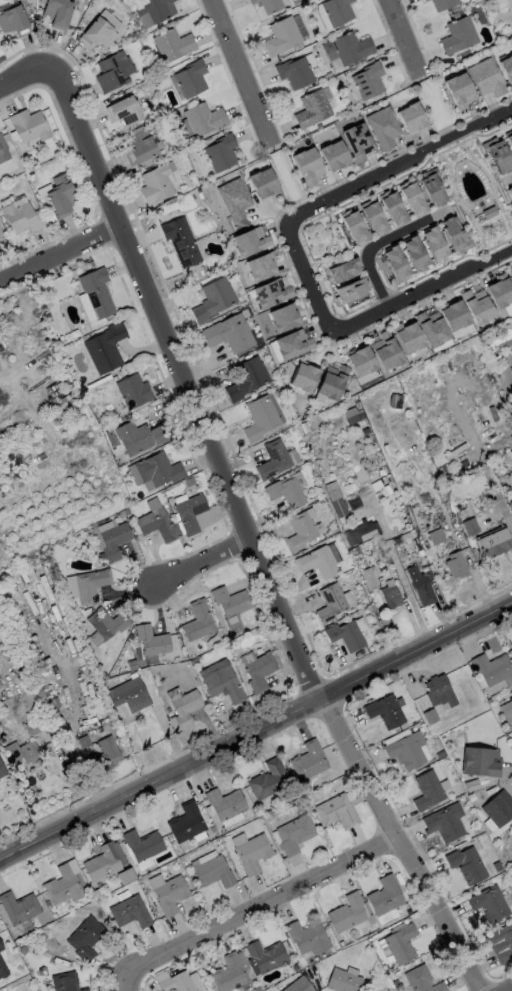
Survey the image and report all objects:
building: (423, 0)
building: (426, 0)
building: (443, 4)
building: (268, 5)
building: (153, 9)
building: (335, 11)
building: (56, 12)
building: (13, 21)
building: (99, 29)
building: (457, 35)
building: (281, 37)
road: (407, 37)
building: (172, 43)
building: (347, 47)
building: (505, 67)
building: (112, 70)
building: (293, 72)
road: (245, 73)
road: (25, 75)
building: (190, 77)
building: (484, 77)
building: (367, 80)
building: (458, 90)
building: (310, 109)
building: (123, 110)
building: (202, 117)
building: (410, 117)
building: (26, 125)
building: (381, 126)
building: (508, 138)
building: (355, 140)
building: (2, 144)
building: (141, 144)
building: (220, 152)
building: (496, 154)
building: (332, 155)
road: (397, 164)
building: (306, 165)
building: (262, 182)
building: (154, 183)
building: (431, 189)
building: (509, 191)
building: (59, 194)
building: (233, 197)
building: (412, 198)
building: (392, 208)
building: (20, 217)
building: (373, 217)
building: (354, 226)
building: (0, 233)
building: (454, 233)
building: (0, 234)
building: (179, 240)
building: (250, 240)
building: (433, 244)
road: (59, 252)
road: (368, 252)
building: (414, 252)
building: (395, 262)
building: (259, 266)
building: (340, 269)
building: (510, 273)
road: (307, 278)
building: (350, 290)
road: (422, 291)
building: (94, 292)
building: (269, 292)
building: (498, 292)
building: (211, 299)
building: (475, 305)
building: (453, 315)
building: (282, 317)
building: (430, 328)
building: (227, 333)
building: (406, 337)
building: (292, 343)
building: (104, 348)
building: (385, 351)
building: (359, 361)
building: (302, 377)
building: (245, 378)
building: (330, 381)
building: (132, 390)
building: (352, 415)
building: (258, 418)
building: (137, 436)
building: (272, 459)
building: (156, 470)
building: (508, 485)
road: (492, 486)
building: (286, 490)
building: (335, 500)
building: (188, 512)
building: (156, 524)
building: (298, 531)
building: (360, 532)
building: (435, 536)
road: (248, 538)
building: (112, 541)
building: (492, 543)
building: (318, 560)
road: (204, 563)
building: (454, 565)
road: (398, 571)
building: (368, 578)
building: (89, 585)
building: (420, 585)
building: (389, 596)
building: (229, 601)
building: (328, 603)
building: (196, 621)
building: (105, 622)
building: (344, 635)
building: (150, 640)
building: (492, 668)
building: (258, 671)
building: (220, 681)
building: (437, 691)
building: (128, 694)
building: (184, 709)
building: (383, 711)
building: (507, 717)
road: (255, 729)
building: (404, 750)
building: (21, 752)
building: (106, 752)
building: (306, 761)
building: (479, 762)
building: (1, 771)
building: (267, 779)
building: (425, 790)
building: (224, 806)
building: (497, 808)
building: (334, 811)
building: (443, 822)
building: (185, 823)
building: (293, 833)
building: (141, 848)
building: (251, 853)
building: (104, 862)
building: (465, 864)
building: (210, 869)
building: (64, 883)
building: (169, 894)
building: (383, 896)
building: (488, 904)
road: (262, 905)
building: (18, 907)
building: (129, 912)
building: (347, 913)
building: (306, 937)
building: (84, 938)
building: (399, 942)
building: (500, 942)
building: (1, 947)
building: (264, 956)
building: (2, 969)
building: (227, 974)
building: (420, 980)
building: (341, 981)
building: (64, 982)
road: (133, 982)
building: (175, 983)
building: (297, 985)
road: (509, 989)
building: (383, 990)

